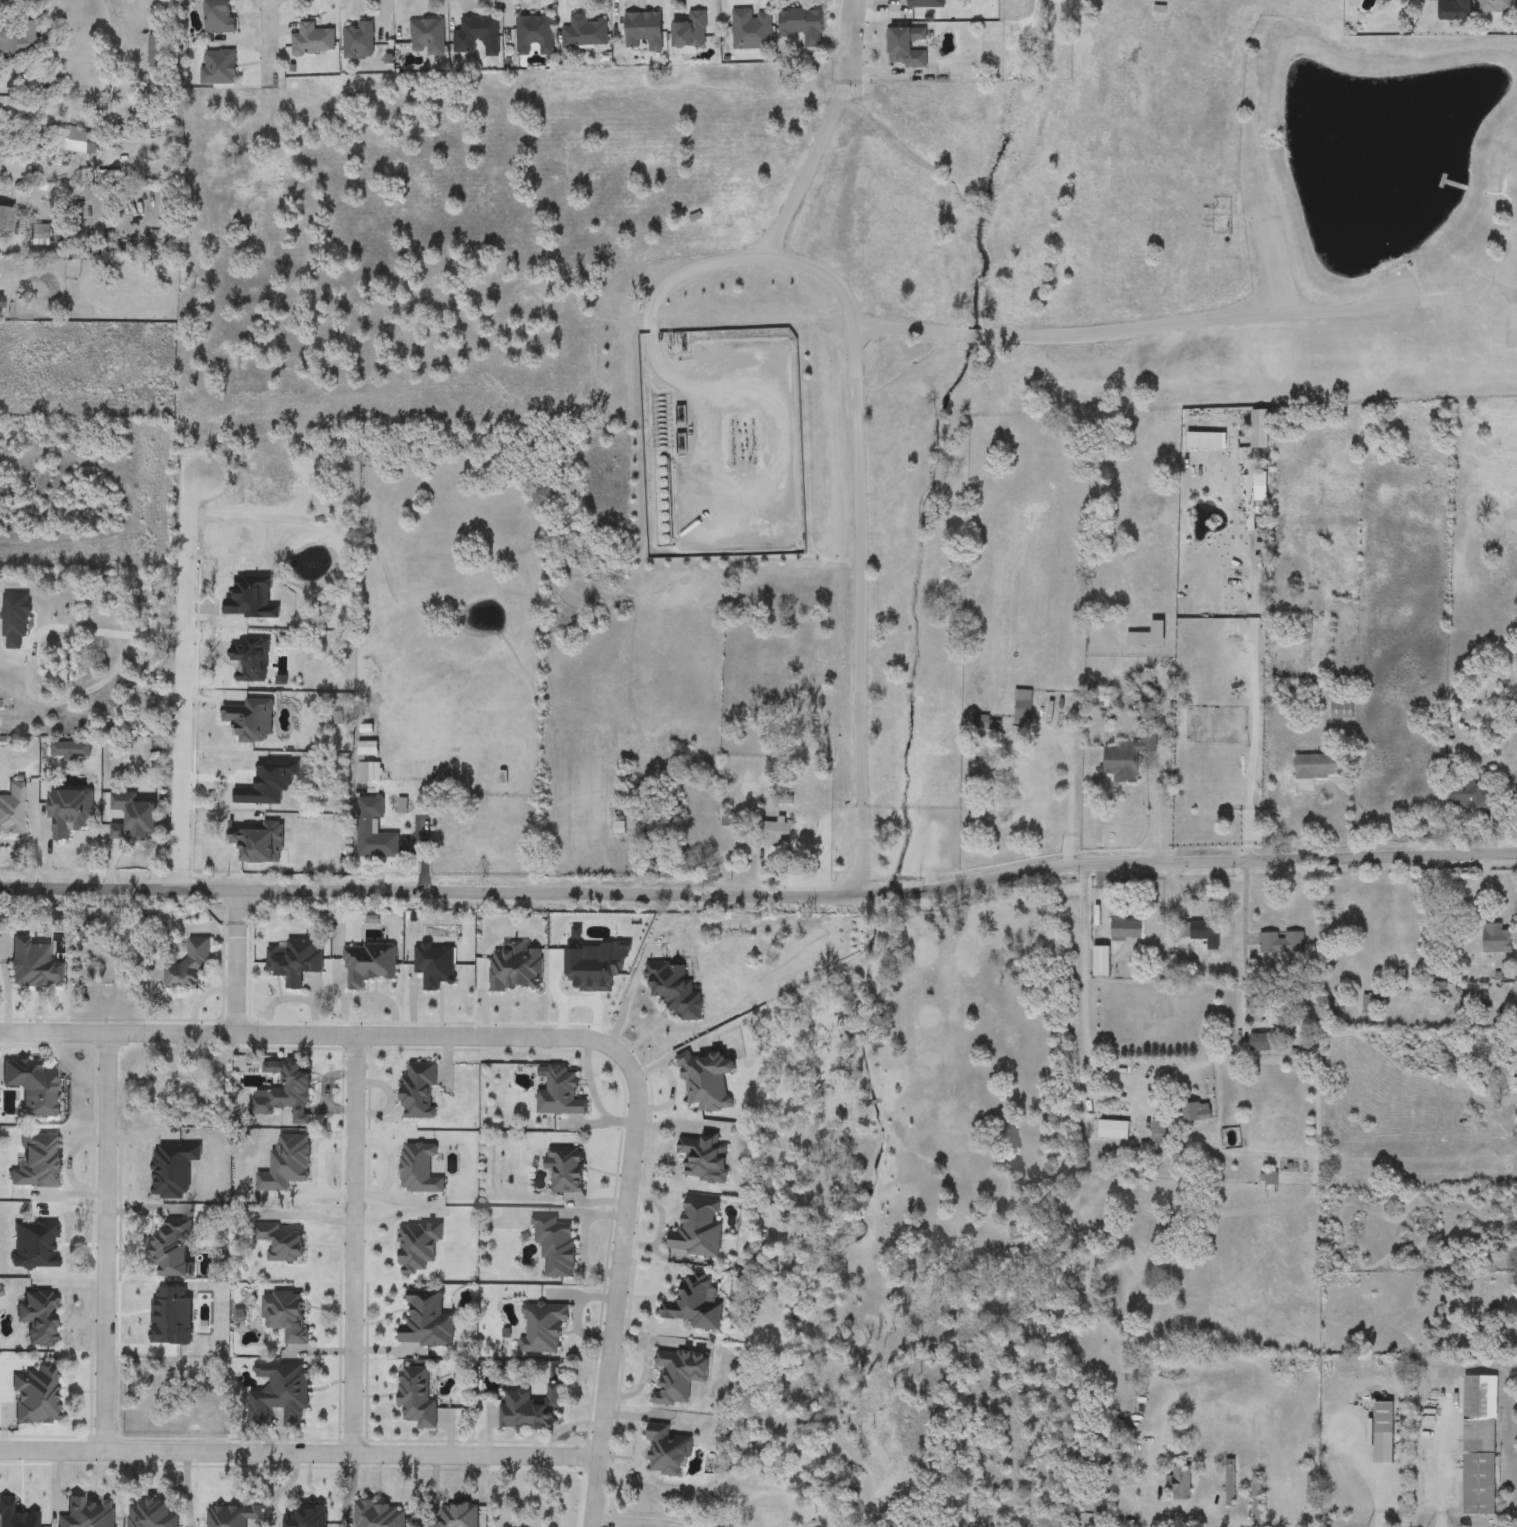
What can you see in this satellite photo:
building: (1403, 1)
building: (926, 3)
building: (1496, 6)
building: (1456, 10)
building: (219, 16)
building: (802, 25)
building: (752, 30)
building: (644, 31)
building: (691, 32)
building: (585, 33)
road: (273, 34)
building: (478, 36)
building: (534, 36)
road: (849, 36)
building: (428, 37)
building: (18, 39)
building: (312, 40)
building: (358, 40)
building: (906, 46)
building: (219, 68)
road: (5, 77)
building: (74, 141)
road: (22, 172)
building: (6, 218)
building: (40, 234)
road: (10, 246)
road: (659, 290)
building: (1, 303)
road: (1296, 315)
road: (905, 332)
road: (973, 336)
building: (683, 354)
road: (852, 452)
building: (1501, 535)
building: (1303, 628)
road: (113, 632)
road: (1245, 674)
road: (186, 681)
building: (1342, 711)
building: (1023, 712)
building: (987, 723)
building: (368, 749)
building: (1127, 755)
building: (1509, 764)
building: (1318, 766)
building: (238, 773)
building: (1032, 773)
building: (1470, 795)
road: (1068, 796)
building: (443, 823)
building: (774, 832)
building: (372, 841)
road: (759, 895)
road: (237, 905)
building: (1126, 929)
building: (1202, 933)
road: (1248, 937)
building: (1497, 939)
building: (1281, 945)
building: (1102, 962)
building: (369, 964)
building: (188, 966)
road: (237, 978)
road: (1083, 987)
building: (674, 991)
road: (310, 1037)
building: (1263, 1042)
building: (32, 1087)
building: (419, 1091)
building: (286, 1093)
road: (595, 1094)
building: (1196, 1112)
building: (1113, 1130)
building: (1159, 1131)
building: (704, 1158)
building: (419, 1169)
building: (566, 1170)
road: (308, 1215)
building: (698, 1229)
building: (280, 1243)
road: (109, 1244)
building: (556, 1245)
building: (418, 1246)
road: (354, 1247)
building: (171, 1250)
road: (618, 1287)
building: (694, 1305)
building: (285, 1315)
building: (425, 1320)
building: (543, 1328)
building: (1283, 1368)
building: (679, 1375)
building: (279, 1394)
building: (37, 1396)
building: (416, 1398)
building: (527, 1410)
building: (1122, 1429)
building: (1383, 1434)
building: (1480, 1445)
building: (667, 1450)
road: (301, 1456)
road: (1443, 1460)
building: (1181, 1484)
building: (1230, 1484)
building: (1257, 1498)
building: (1098, 1502)
building: (380, 1515)
building: (457, 1516)
road: (1184, 1516)
building: (306, 1517)
road: (637, 1523)

